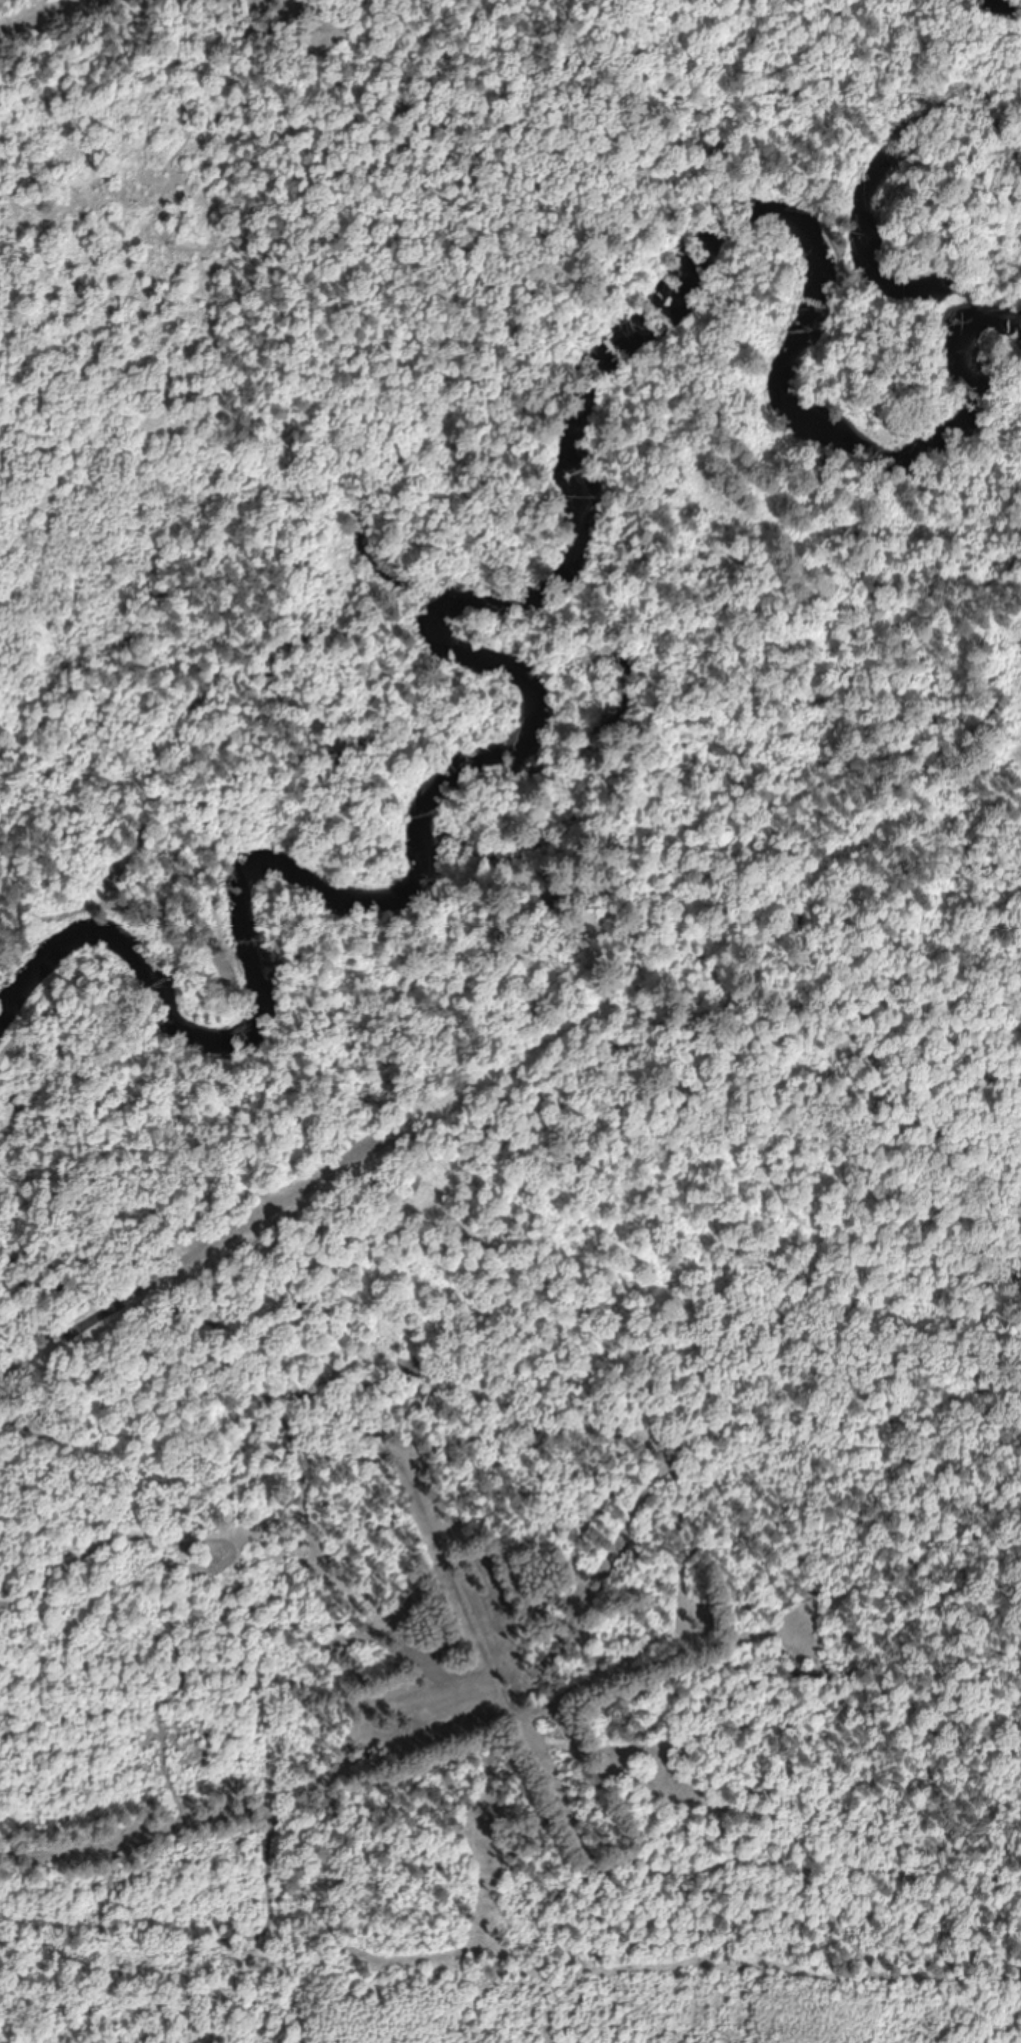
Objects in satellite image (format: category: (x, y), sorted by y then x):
road: (32, 11)
river: (591, 381)
building: (556, 901)

